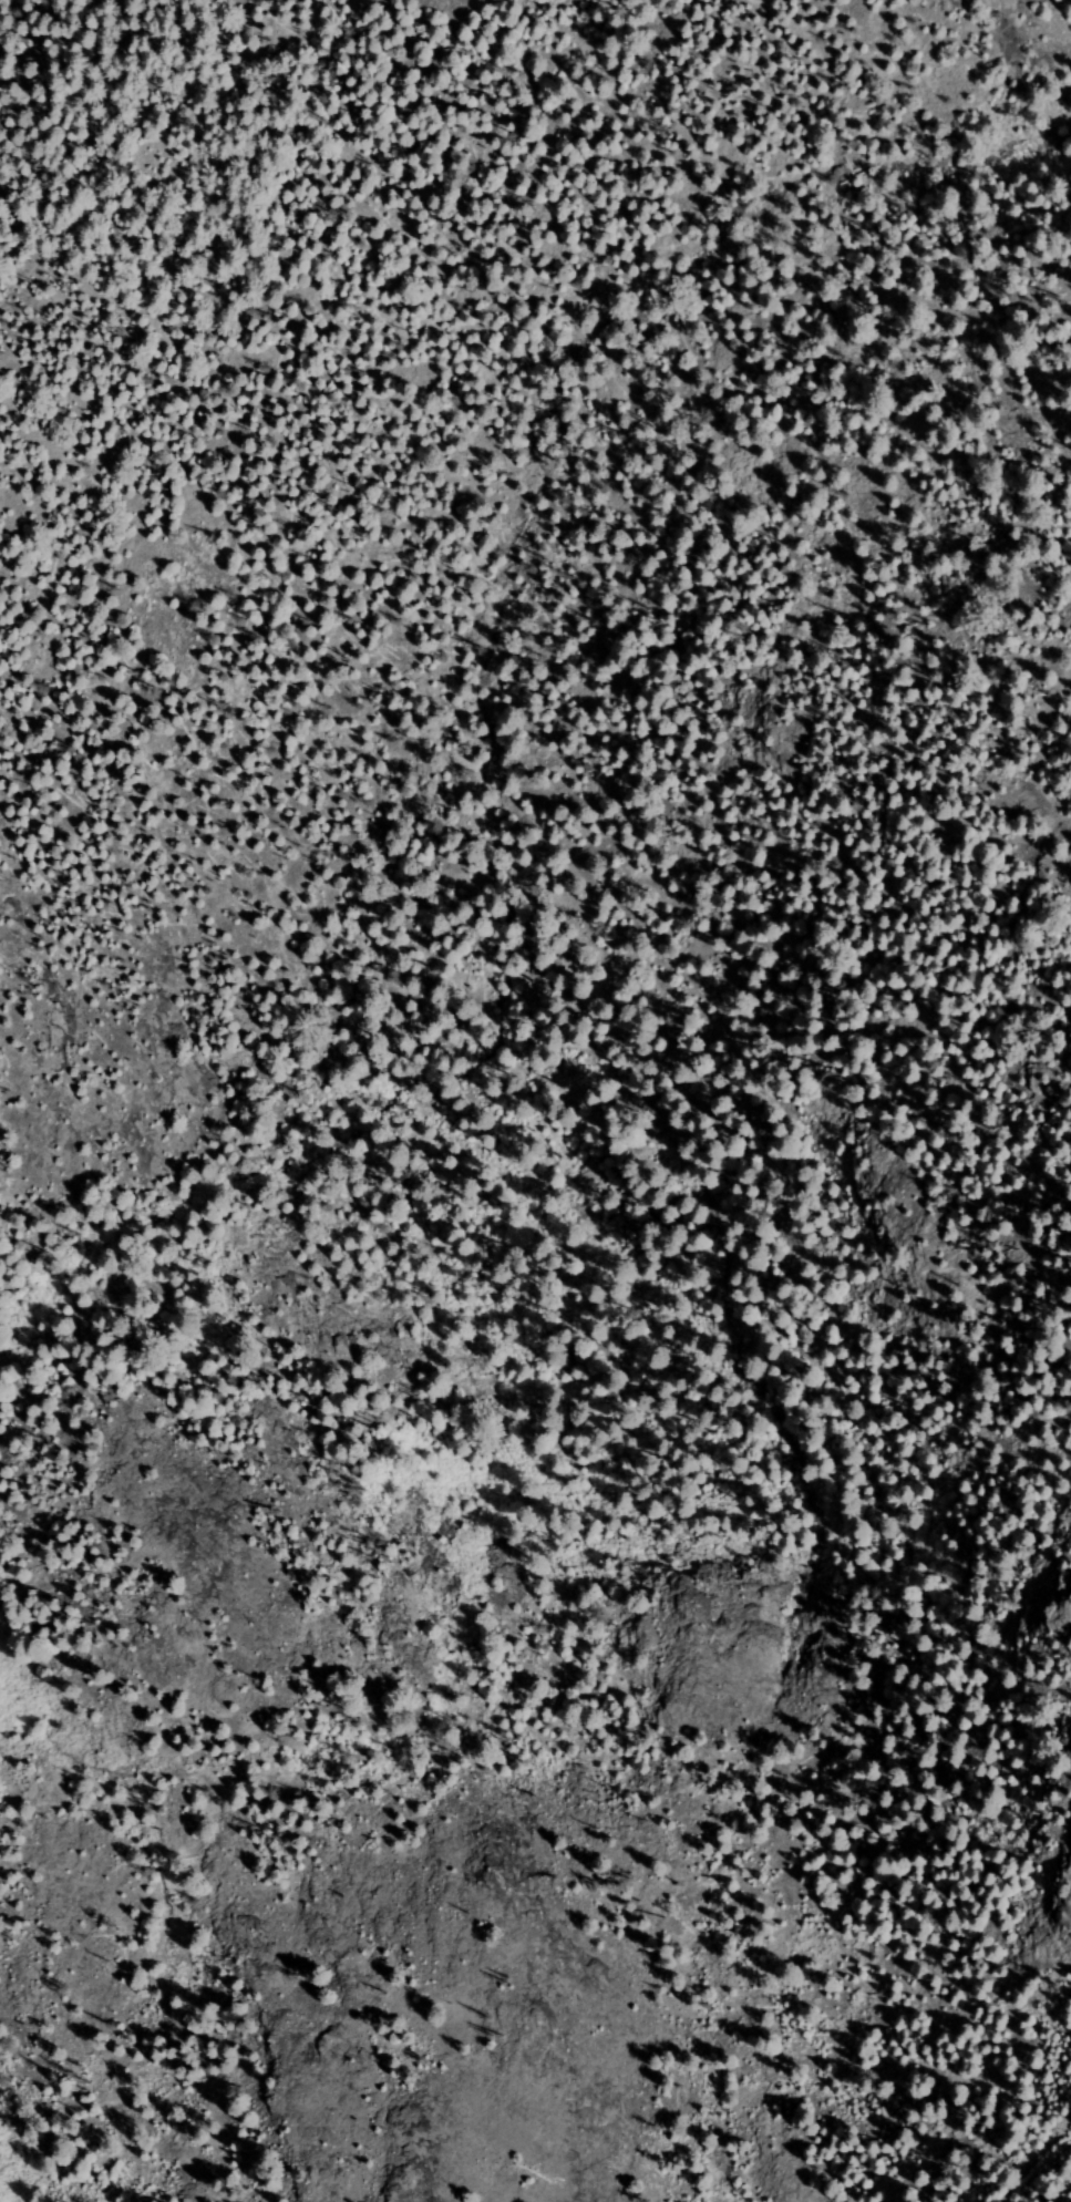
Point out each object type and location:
road: (1037, 2157)

